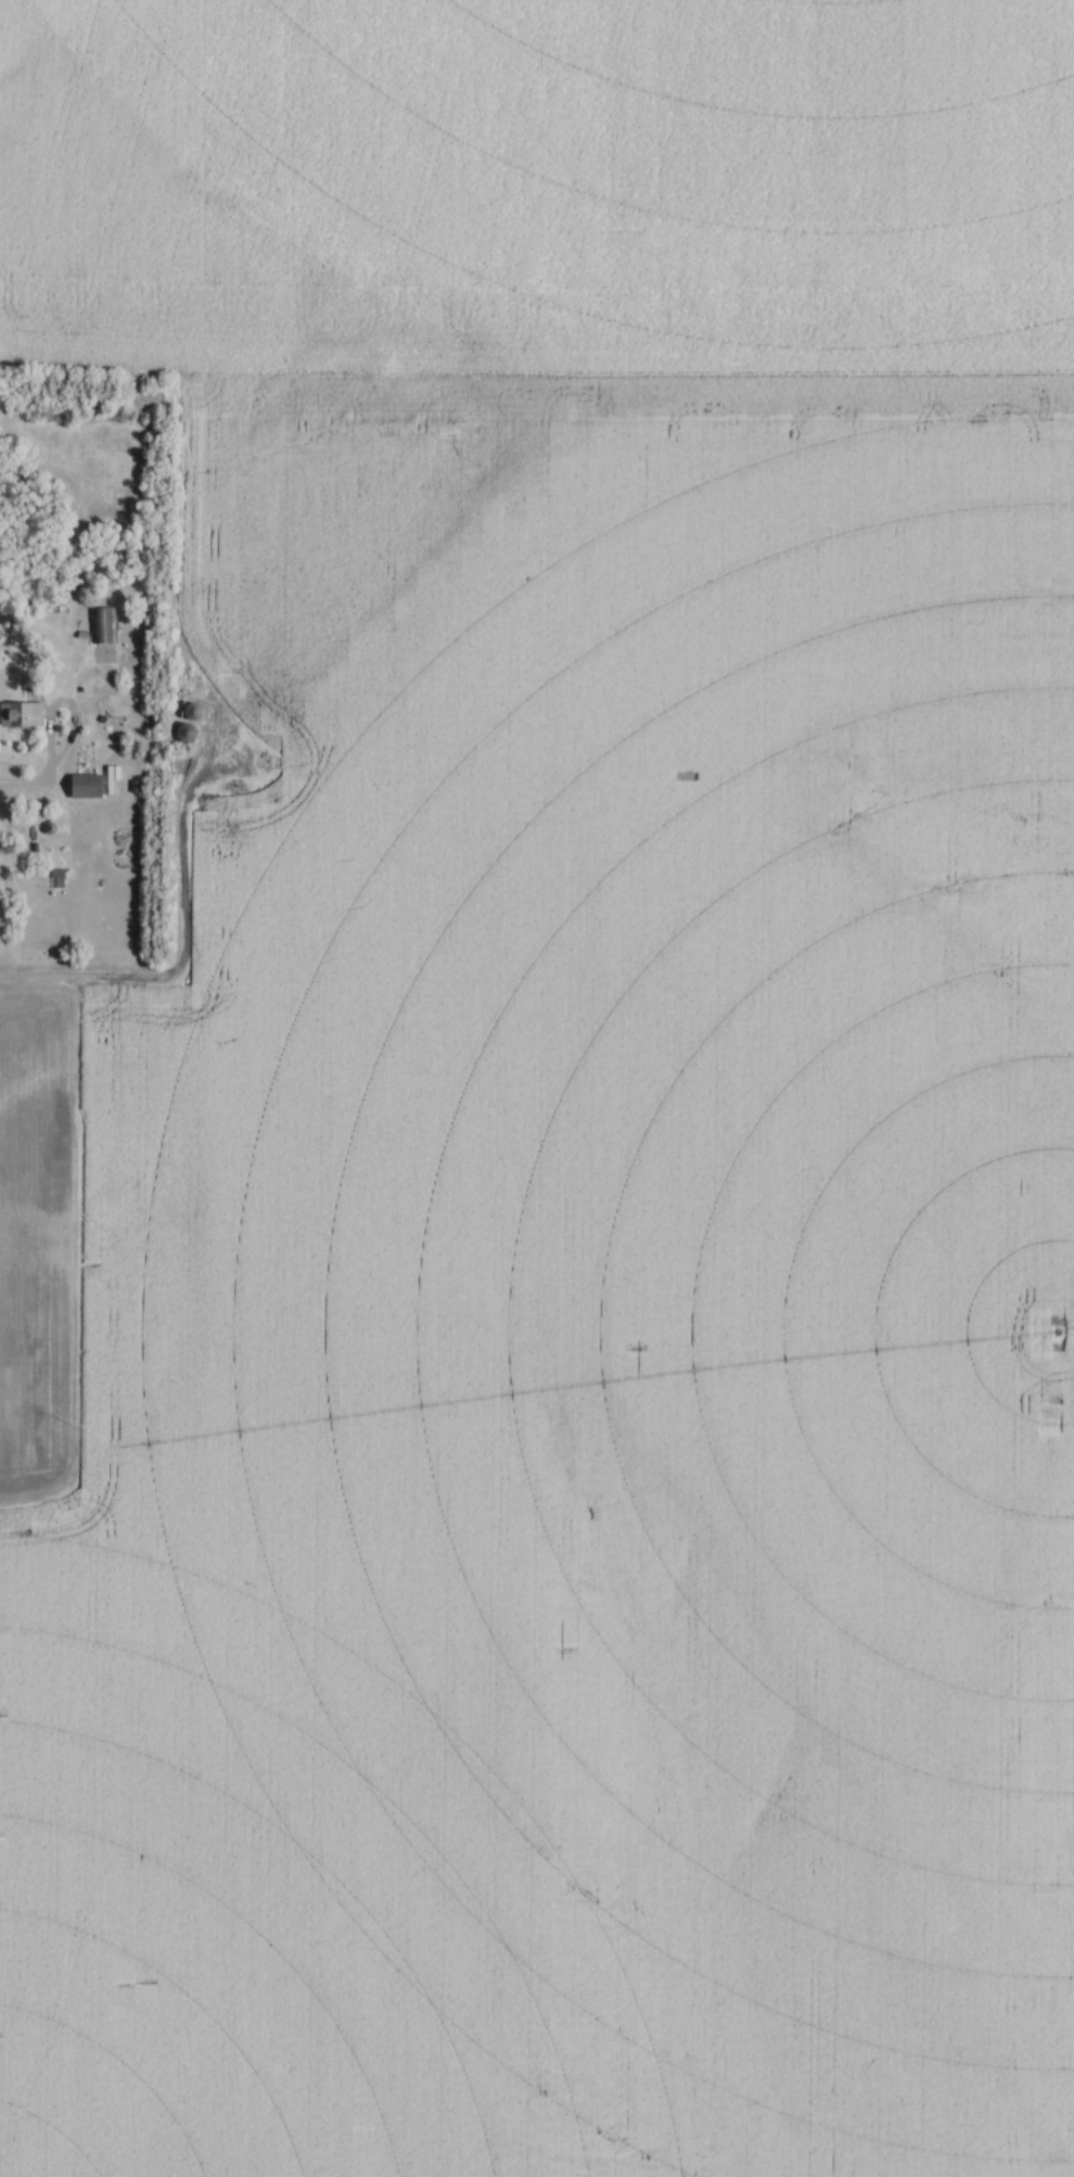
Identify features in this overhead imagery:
building: (100, 625)
building: (191, 711)
building: (20, 714)
building: (182, 733)
building: (223, 733)
road: (52, 754)
road: (23, 786)
building: (84, 786)

